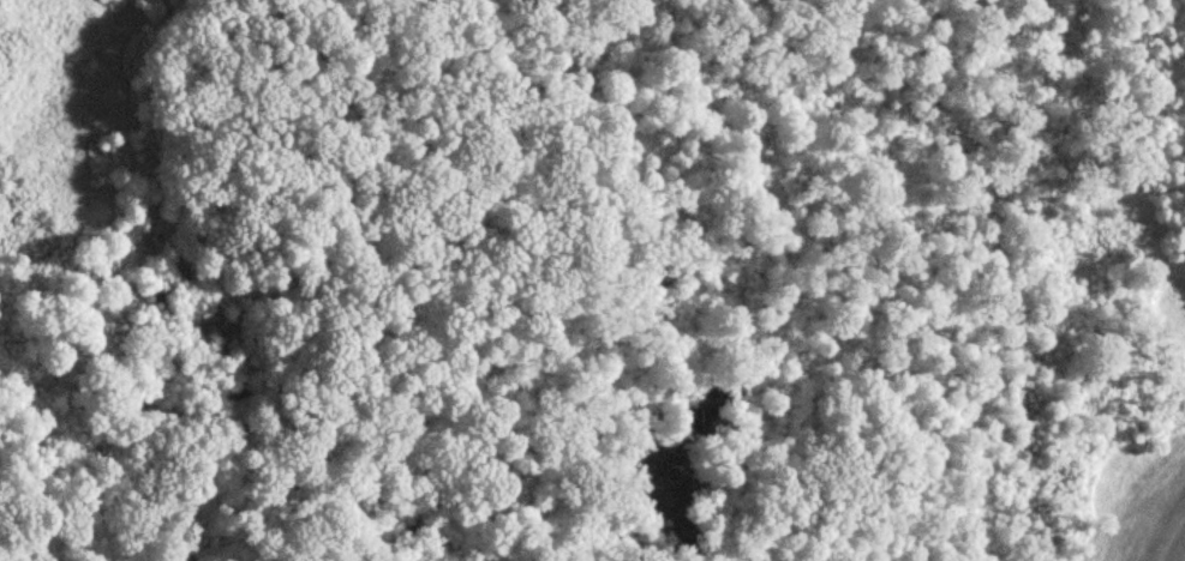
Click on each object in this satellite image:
raceway: (1179, 550)

